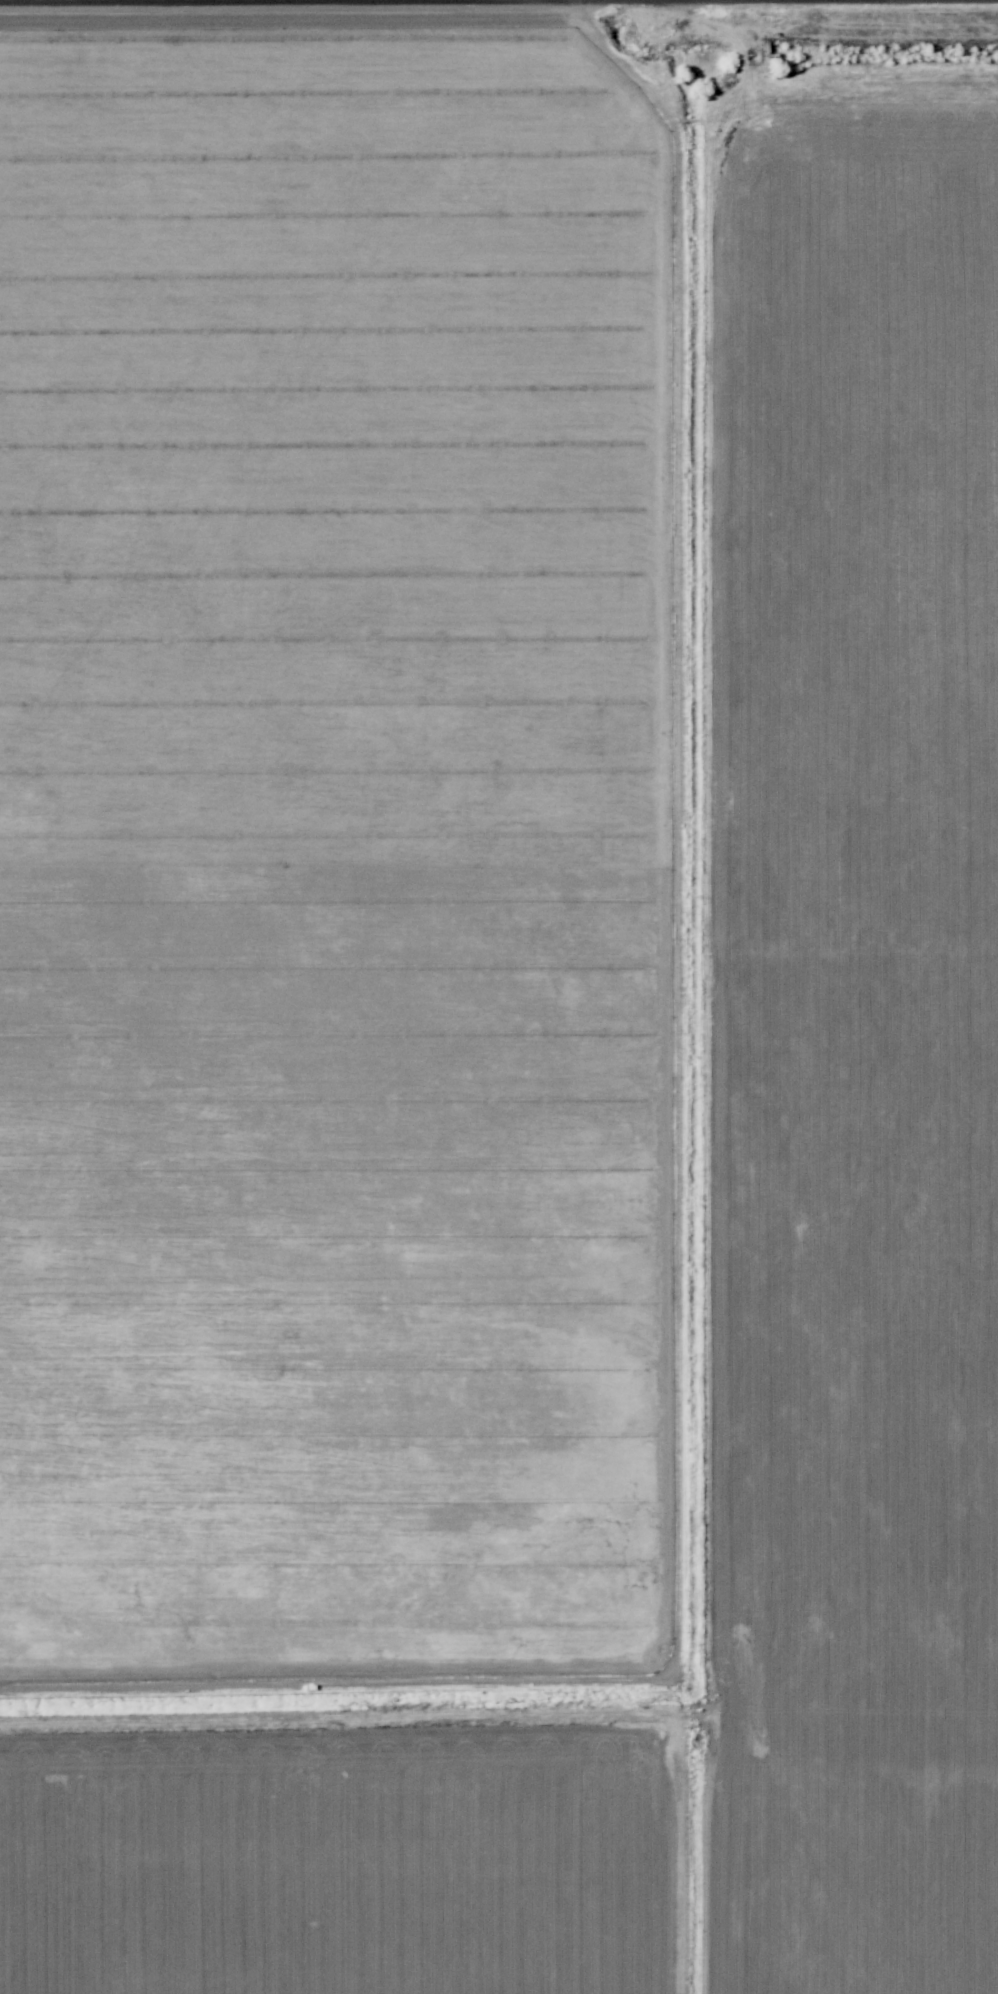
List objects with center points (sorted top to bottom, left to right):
road: (146, 1)

